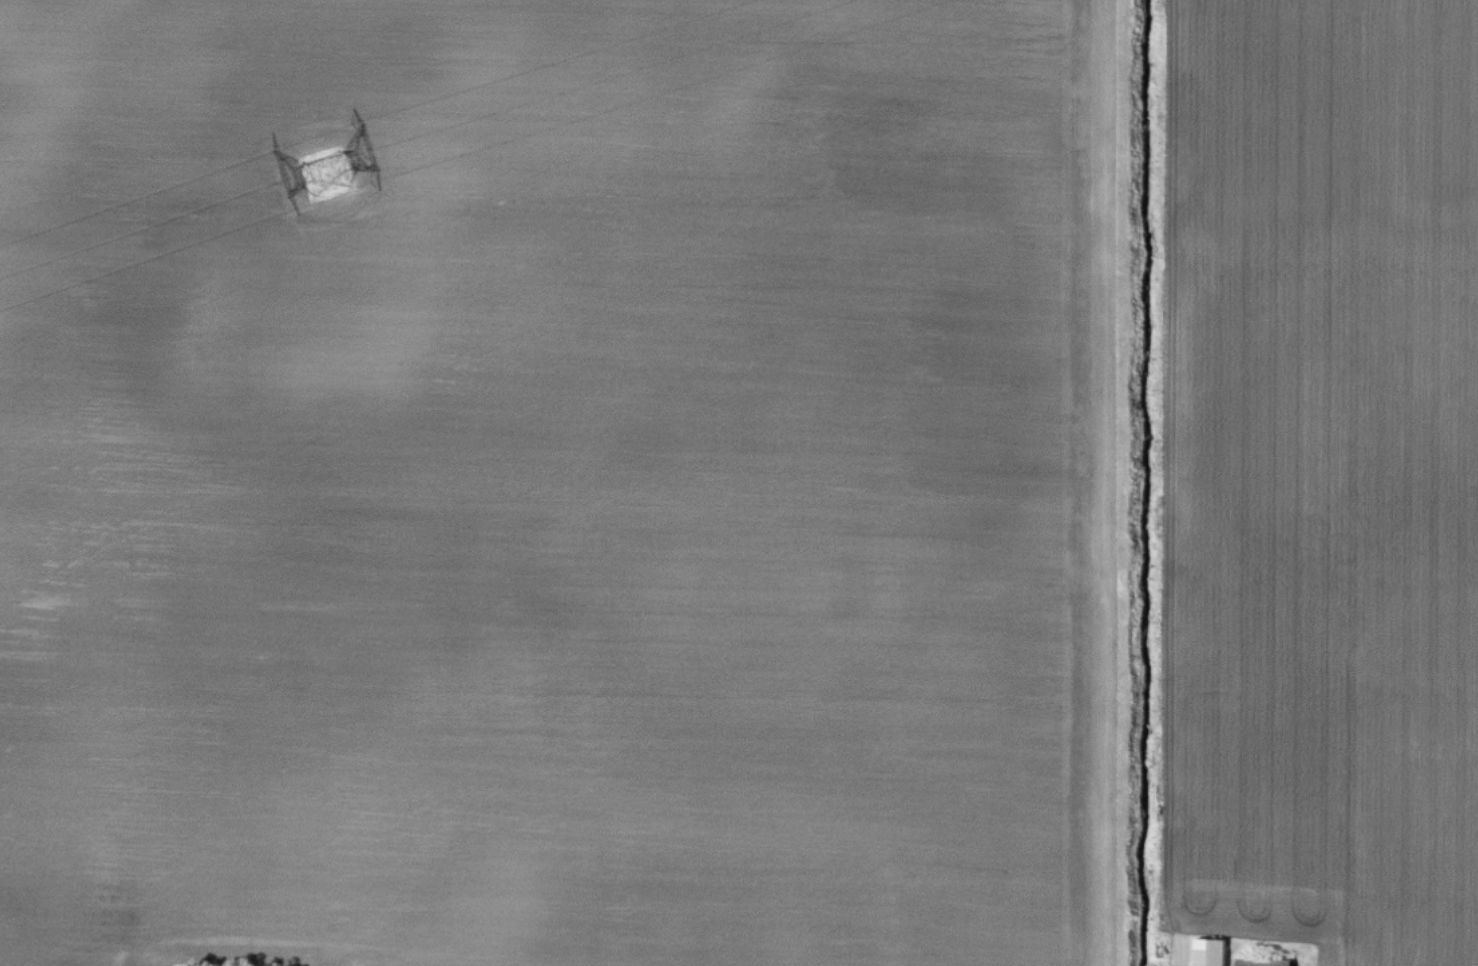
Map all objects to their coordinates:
power tower: (361, 158)

